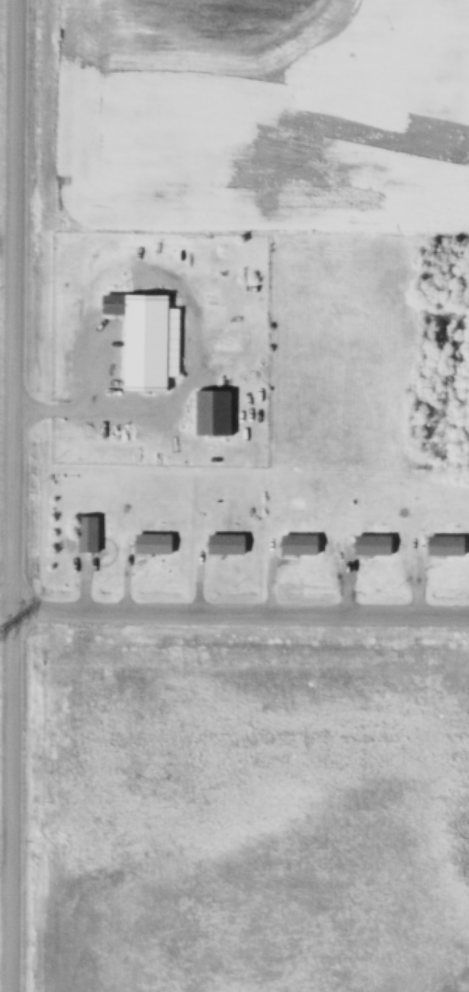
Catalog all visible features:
building: (148, 340)
building: (215, 414)
road: (16, 496)
building: (90, 535)
building: (156, 545)
building: (230, 545)
building: (302, 545)
building: (375, 546)
building: (448, 546)
road: (234, 619)

